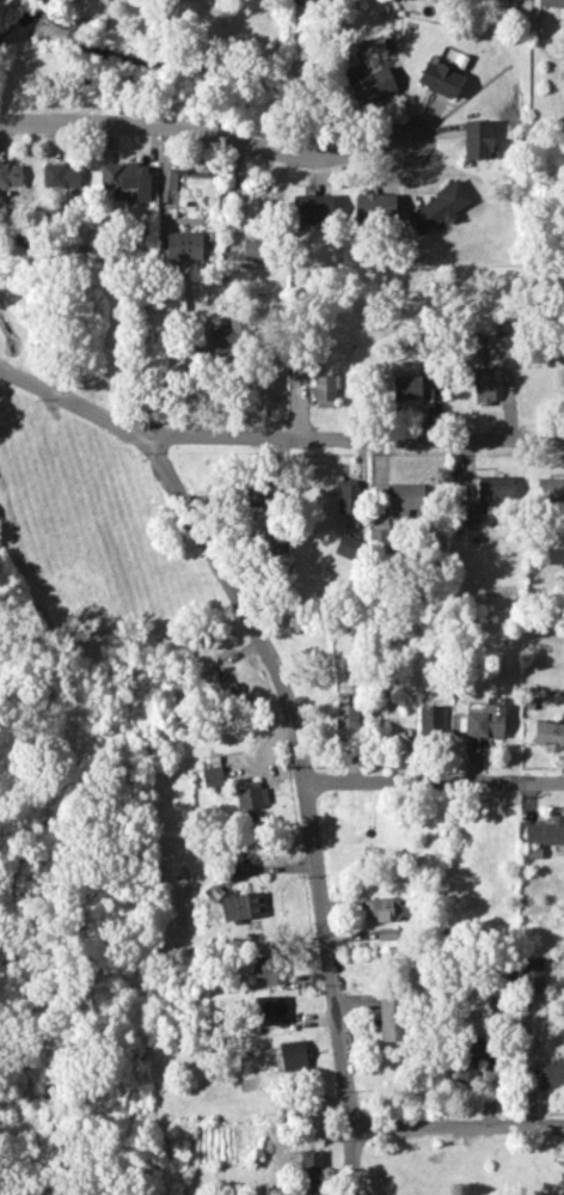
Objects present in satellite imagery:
building: (520, 0)
building: (551, 2)
building: (439, 78)
building: (563, 78)
building: (372, 86)
road: (215, 134)
building: (477, 139)
building: (10, 175)
building: (60, 175)
building: (127, 178)
building: (374, 206)
building: (437, 207)
building: (311, 208)
building: (241, 243)
building: (184, 245)
building: (226, 337)
building: (482, 384)
building: (411, 388)
building: (325, 389)
road: (275, 433)
building: (493, 487)
building: (550, 489)
building: (257, 496)
building: (347, 496)
building: (403, 499)
building: (470, 511)
building: (347, 545)
building: (220, 690)
park: (70, 696)
building: (430, 718)
building: (345, 720)
building: (485, 721)
building: (547, 734)
building: (211, 776)
road: (435, 785)
road: (306, 789)
building: (249, 797)
building: (545, 831)
building: (241, 906)
building: (385, 908)
building: (268, 968)
building: (532, 974)
building: (270, 1008)
building: (390, 1018)
building: (292, 1055)
building: (468, 1059)
building: (551, 1074)
road: (460, 1126)
building: (309, 1172)
building: (560, 1183)

